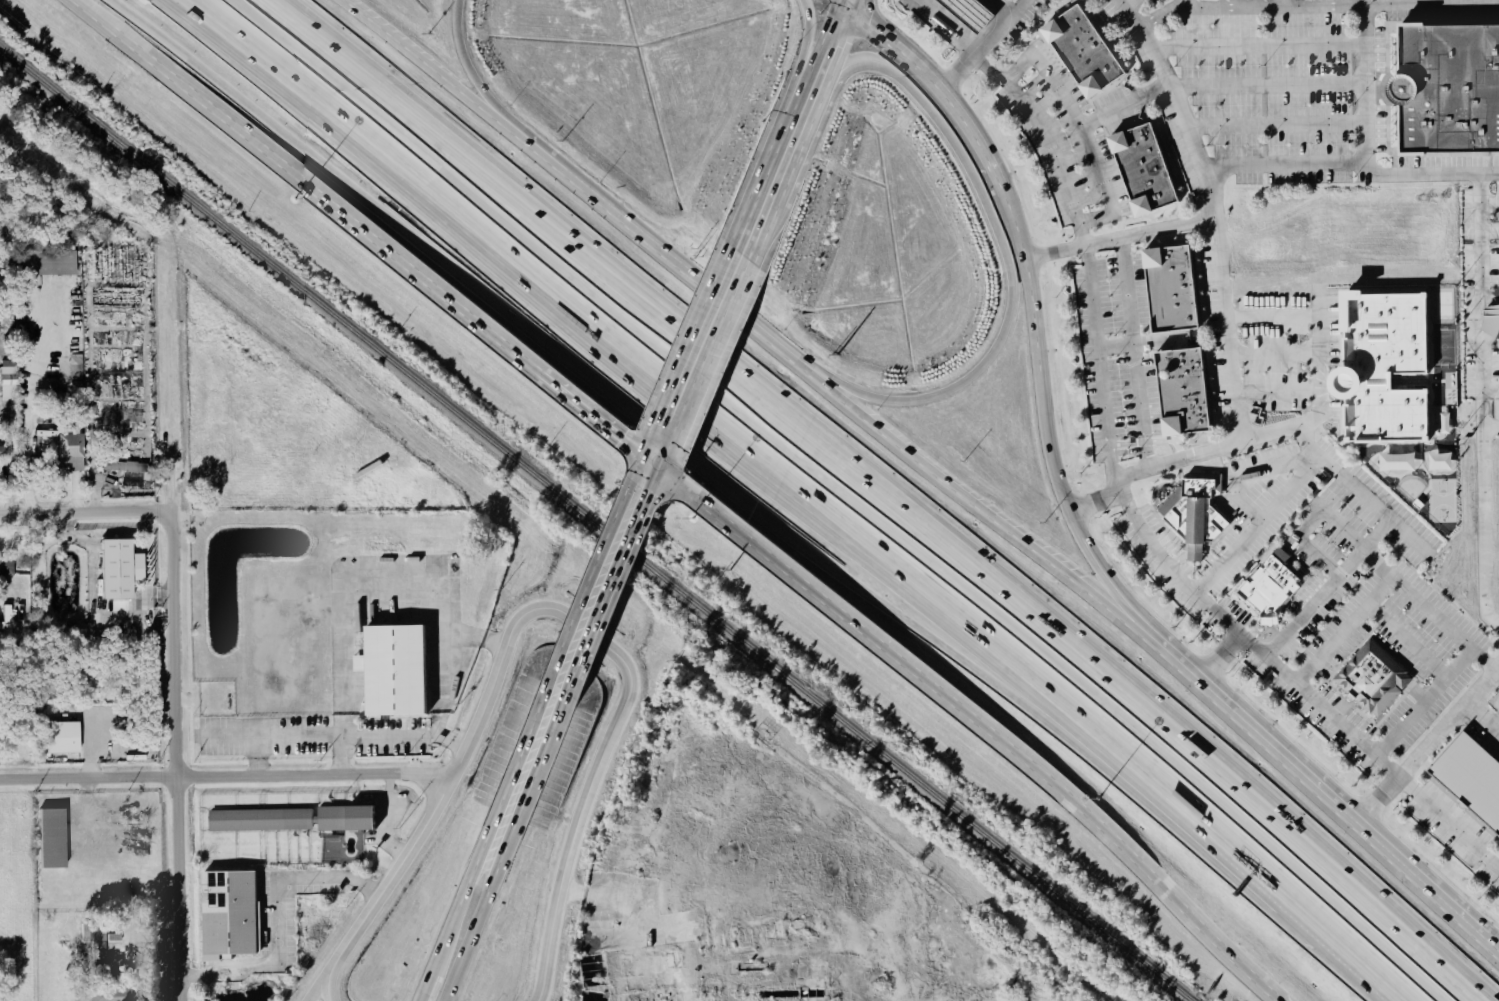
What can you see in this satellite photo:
road: (1439, 2)
road: (839, 3)
road: (843, 3)
road: (847, 3)
road: (1126, 3)
road: (1225, 3)
road: (1272, 3)
road: (1179, 4)
traffic signals: (843, 6)
road: (1003, 6)
road: (1312, 6)
road: (89, 8)
building: (964, 14)
road: (943, 27)
road: (996, 27)
road: (127, 39)
road: (1257, 47)
building: (1079, 52)
road: (804, 53)
road: (822, 57)
road: (956, 73)
road: (452, 82)
road: (1364, 84)
road: (1267, 86)
building: (1445, 90)
road: (939, 92)
road: (485, 93)
road: (387, 99)
road: (1125, 106)
road: (797, 117)
road: (1076, 120)
road: (1274, 126)
road: (1048, 150)
road: (1351, 165)
road: (776, 168)
building: (1139, 171)
road: (437, 196)
road: (346, 220)
road: (750, 230)
road: (998, 238)
road: (1120, 238)
building: (50, 264)
road: (1025, 264)
road: (683, 271)
road: (612, 274)
building: (1167, 291)
building: (1493, 321)
road: (1115, 347)
park: (1443, 347)
road: (698, 352)
road: (1133, 354)
road: (1100, 361)
building: (1391, 365)
building: (77, 368)
building: (10, 381)
building: (1179, 394)
road: (1480, 402)
road: (33, 410)
road: (1238, 410)
road: (595, 421)
building: (40, 443)
building: (73, 452)
building: (3, 453)
road: (690, 455)
road: (652, 460)
building: (1445, 462)
building: (1402, 463)
traffic signals: (650, 466)
building: (127, 467)
building: (367, 470)
road: (1144, 471)
road: (645, 478)
road: (1063, 497)
road: (982, 508)
road: (88, 510)
building: (1193, 510)
road: (1314, 525)
road: (1259, 526)
railway: (594, 527)
railway: (554, 558)
building: (115, 570)
building: (1275, 589)
road: (346, 590)
road: (598, 592)
road: (1313, 603)
road: (540, 612)
road: (1342, 630)
road: (991, 641)
road: (1407, 641)
road: (885, 650)
road: (1220, 660)
road: (1498, 662)
road: (1096, 669)
building: (399, 671)
building: (1365, 678)
road: (446, 683)
road: (1299, 690)
road: (1425, 702)
road: (551, 710)
road: (342, 735)
building: (67, 739)
road: (1427, 743)
road: (93, 746)
road: (175, 757)
road: (227, 776)
building: (1470, 778)
road: (1325, 794)
road: (515, 796)
building: (346, 818)
building: (260, 821)
building: (332, 838)
building: (53, 839)
road: (477, 872)
road: (487, 876)
road: (619, 905)
road: (274, 914)
building: (233, 915)
road: (1199, 920)
road: (450, 927)
road: (465, 943)
road: (1348, 947)
building: (674, 962)
road: (319, 987)
road: (425, 988)
building: (117, 994)

